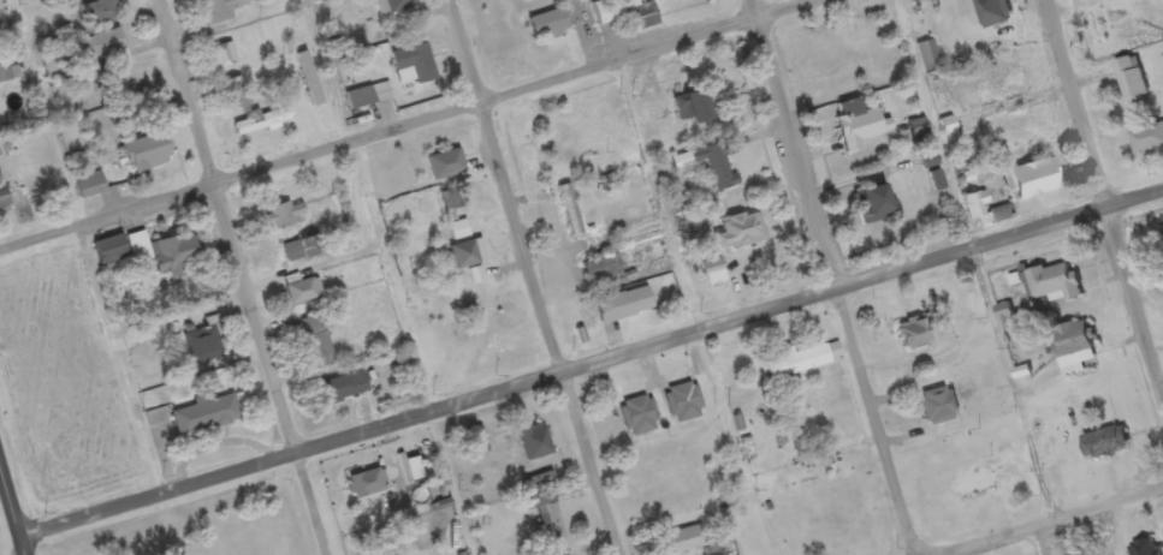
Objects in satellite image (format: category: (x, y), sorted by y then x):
building: (1097, 1)
building: (393, 10)
building: (219, 12)
road: (755, 12)
building: (993, 13)
building: (100, 14)
building: (630, 14)
building: (547, 26)
building: (1097, 37)
building: (101, 52)
building: (928, 58)
building: (413, 67)
building: (1132, 82)
building: (358, 101)
building: (690, 111)
building: (262, 125)
road: (417, 125)
building: (858, 127)
building: (1147, 142)
building: (144, 156)
building: (444, 167)
building: (711, 167)
building: (1030, 181)
building: (89, 187)
road: (1100, 195)
building: (452, 201)
building: (2, 202)
building: (871, 207)
building: (570, 213)
building: (986, 213)
building: (285, 217)
building: (458, 232)
building: (738, 234)
building: (1162, 239)
building: (302, 251)
building: (108, 252)
building: (162, 256)
building: (467, 256)
building: (592, 274)
building: (712, 275)
road: (249, 276)
road: (535, 277)
building: (1054, 286)
road: (839, 290)
building: (302, 294)
building: (623, 308)
building: (1005, 318)
building: (912, 335)
building: (315, 344)
building: (202, 347)
building: (1073, 350)
building: (801, 362)
road: (592, 365)
building: (340, 390)
building: (683, 405)
building: (938, 407)
building: (204, 417)
building: (637, 418)
building: (813, 424)
building: (534, 443)
building: (1104, 446)
building: (367, 485)
building: (961, 501)
building: (552, 508)
road: (13, 513)
road: (1066, 526)
building: (684, 542)
building: (1144, 549)

